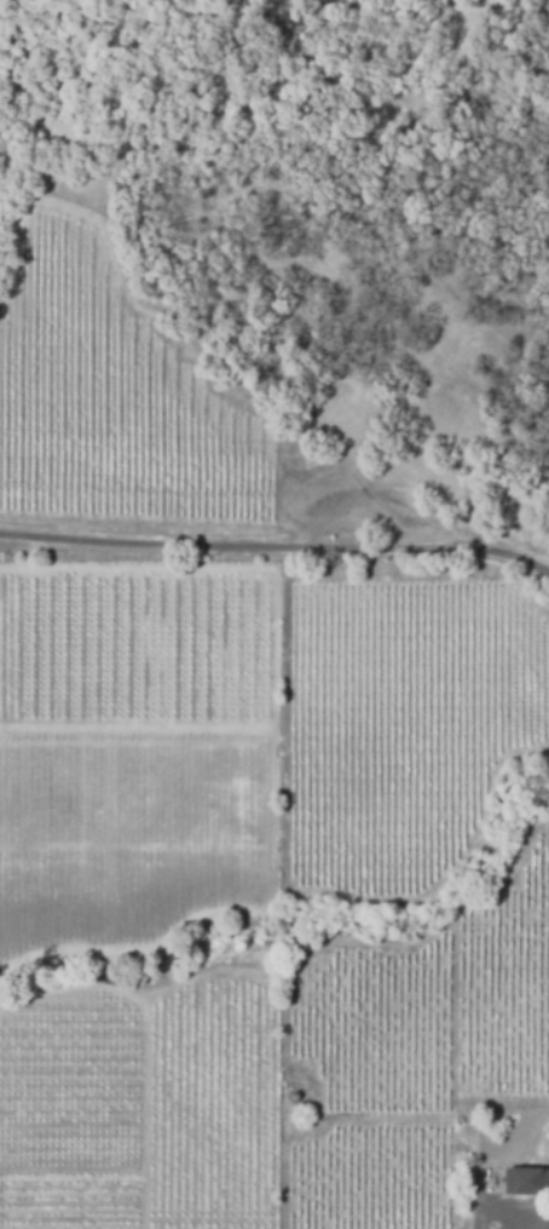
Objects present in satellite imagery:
road: (276, 547)
building: (293, 1091)
building: (526, 1181)
road: (515, 1221)

